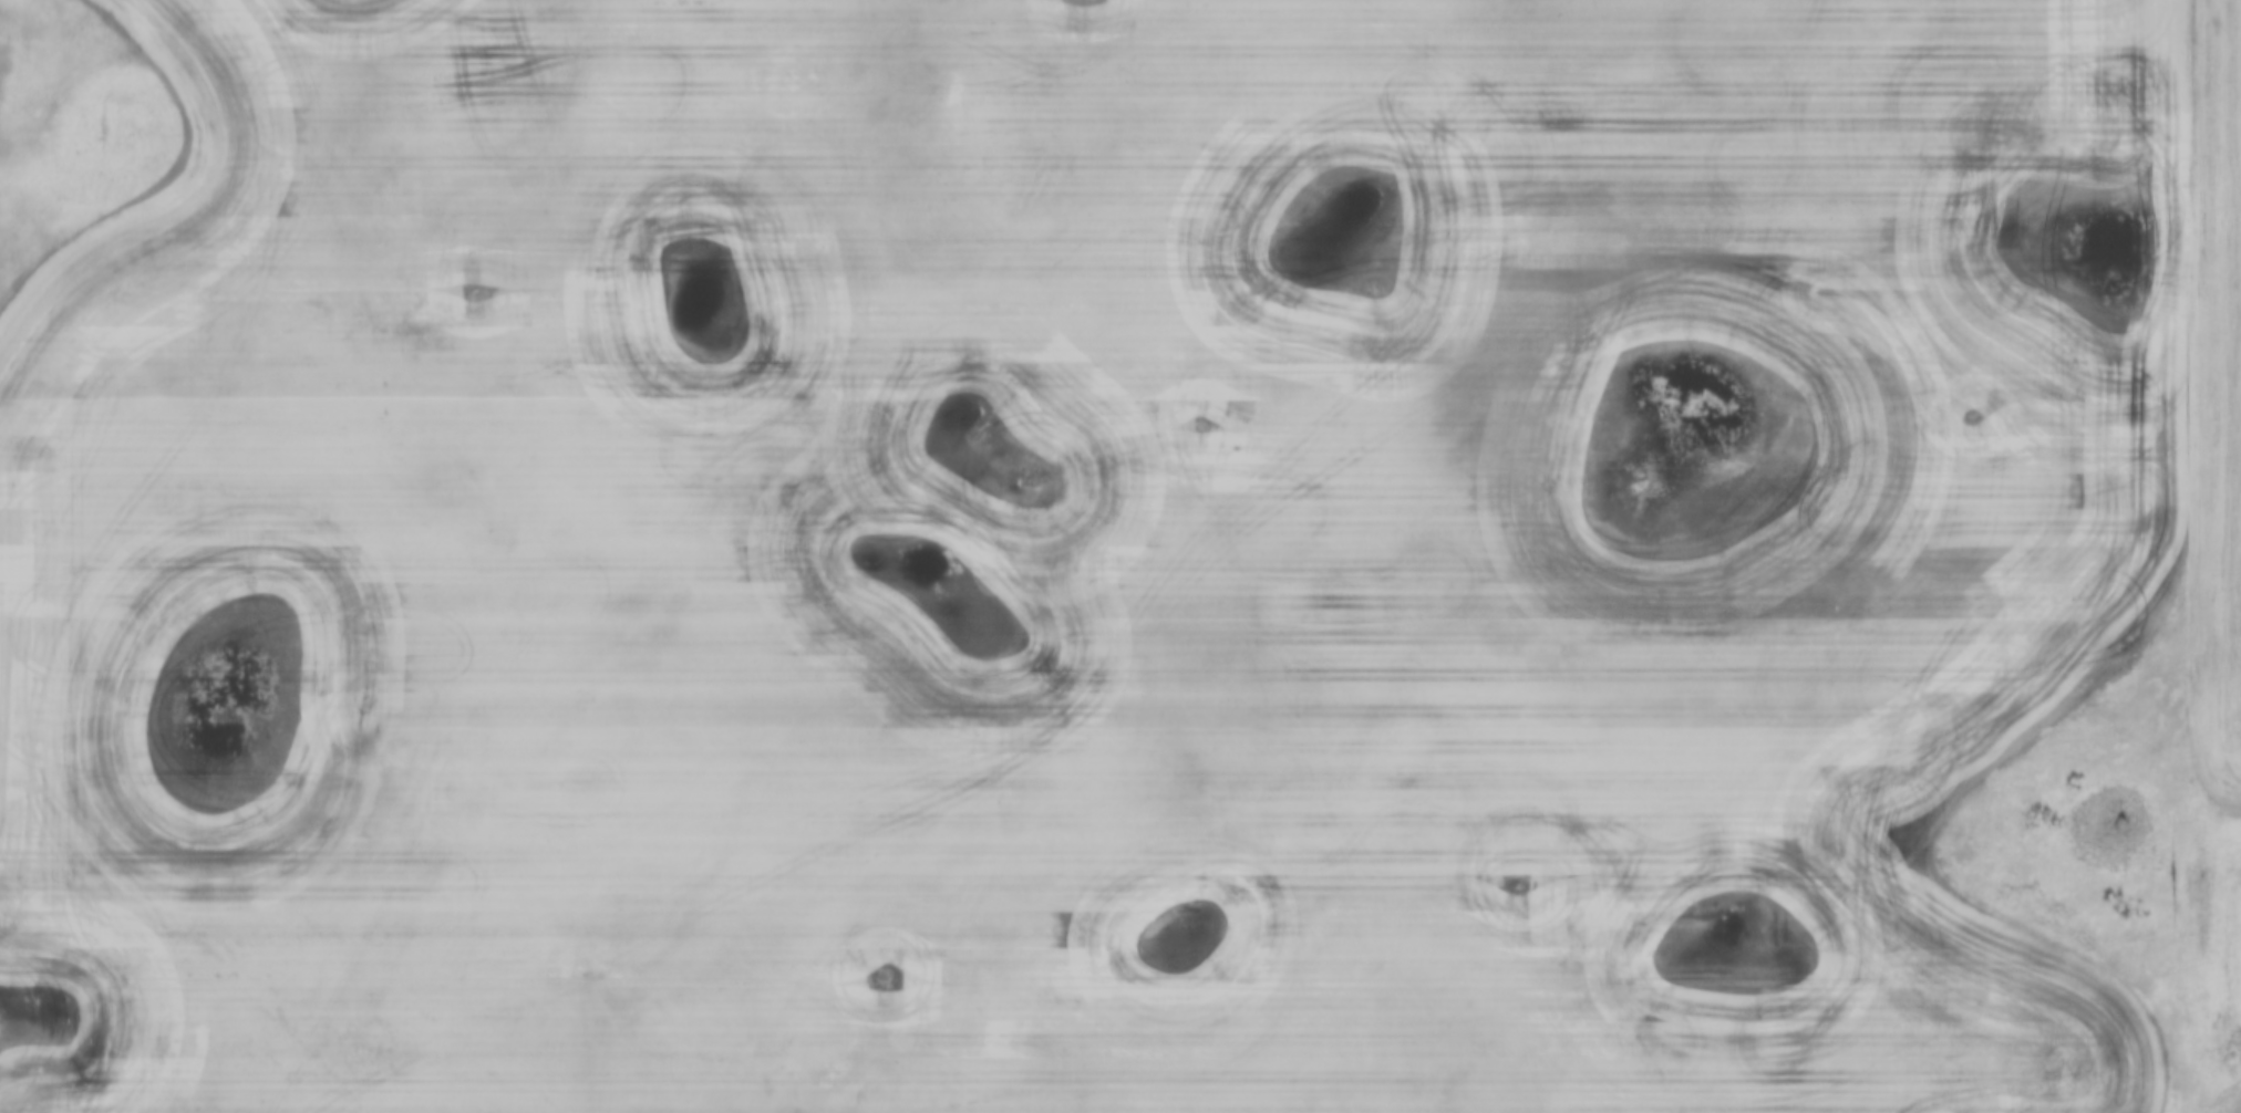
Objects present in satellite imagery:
road: (2206, 558)

